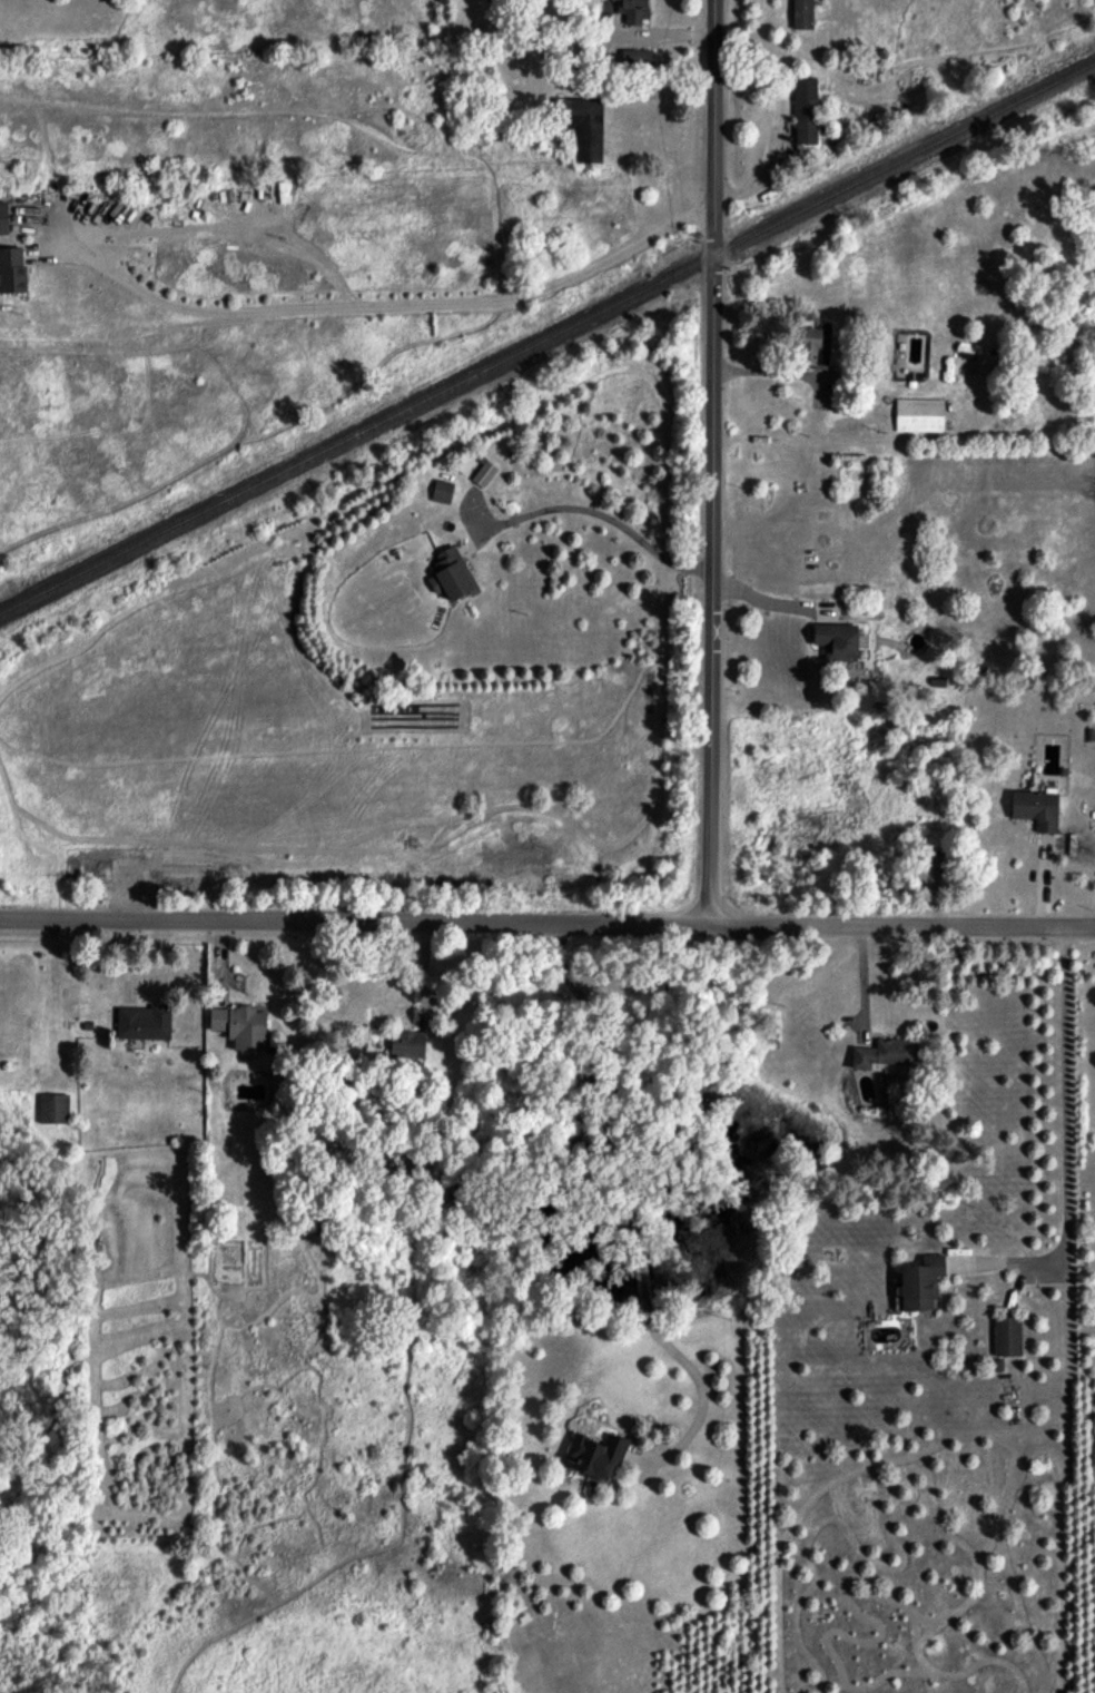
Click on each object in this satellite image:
building: (633, 10)
building: (801, 13)
building: (637, 58)
building: (805, 108)
building: (583, 126)
building: (3, 218)
building: (11, 269)
road: (389, 303)
railway: (549, 341)
building: (813, 344)
road: (769, 370)
building: (918, 414)
crop: (355, 460)
road: (710, 462)
building: (484, 473)
building: (442, 491)
road: (603, 514)
building: (451, 574)
road: (769, 600)
building: (837, 640)
building: (1035, 808)
road: (547, 923)
building: (142, 1022)
building: (240, 1025)
building: (407, 1043)
building: (885, 1054)
building: (53, 1108)
road: (1064, 1140)
road: (625, 1203)
building: (920, 1282)
building: (1007, 1336)
building: (595, 1454)

